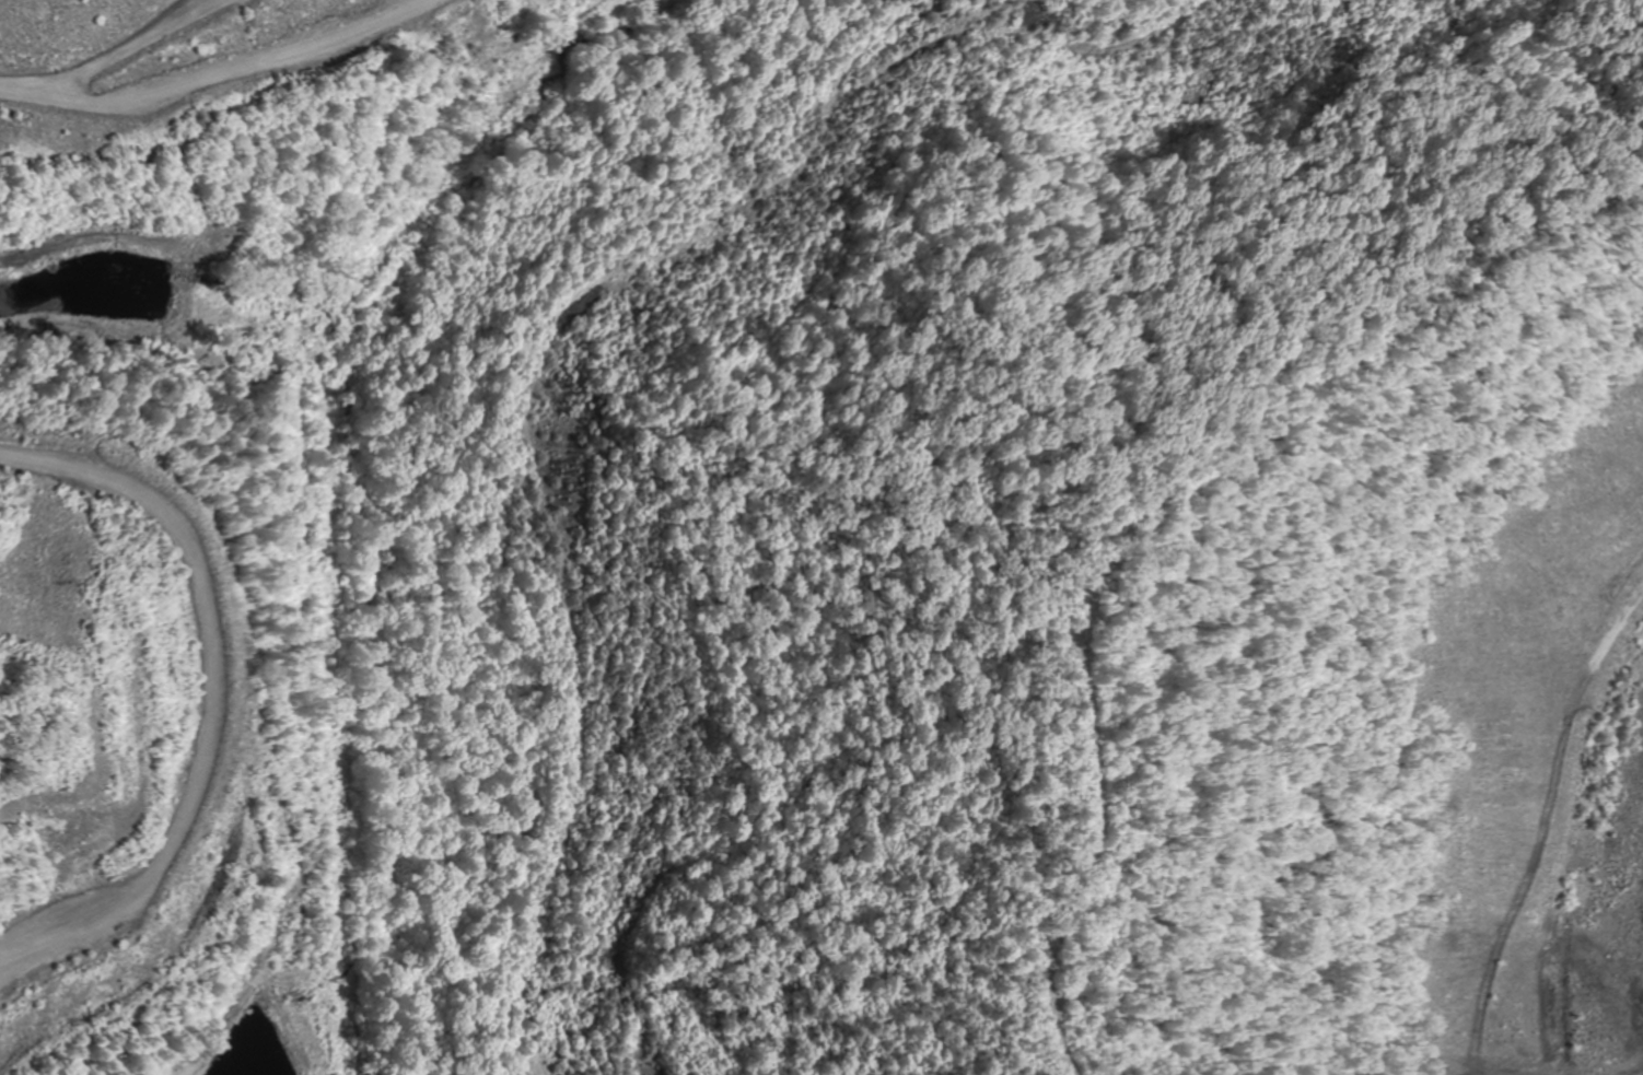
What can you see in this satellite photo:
road: (451, 154)
road: (286, 753)

